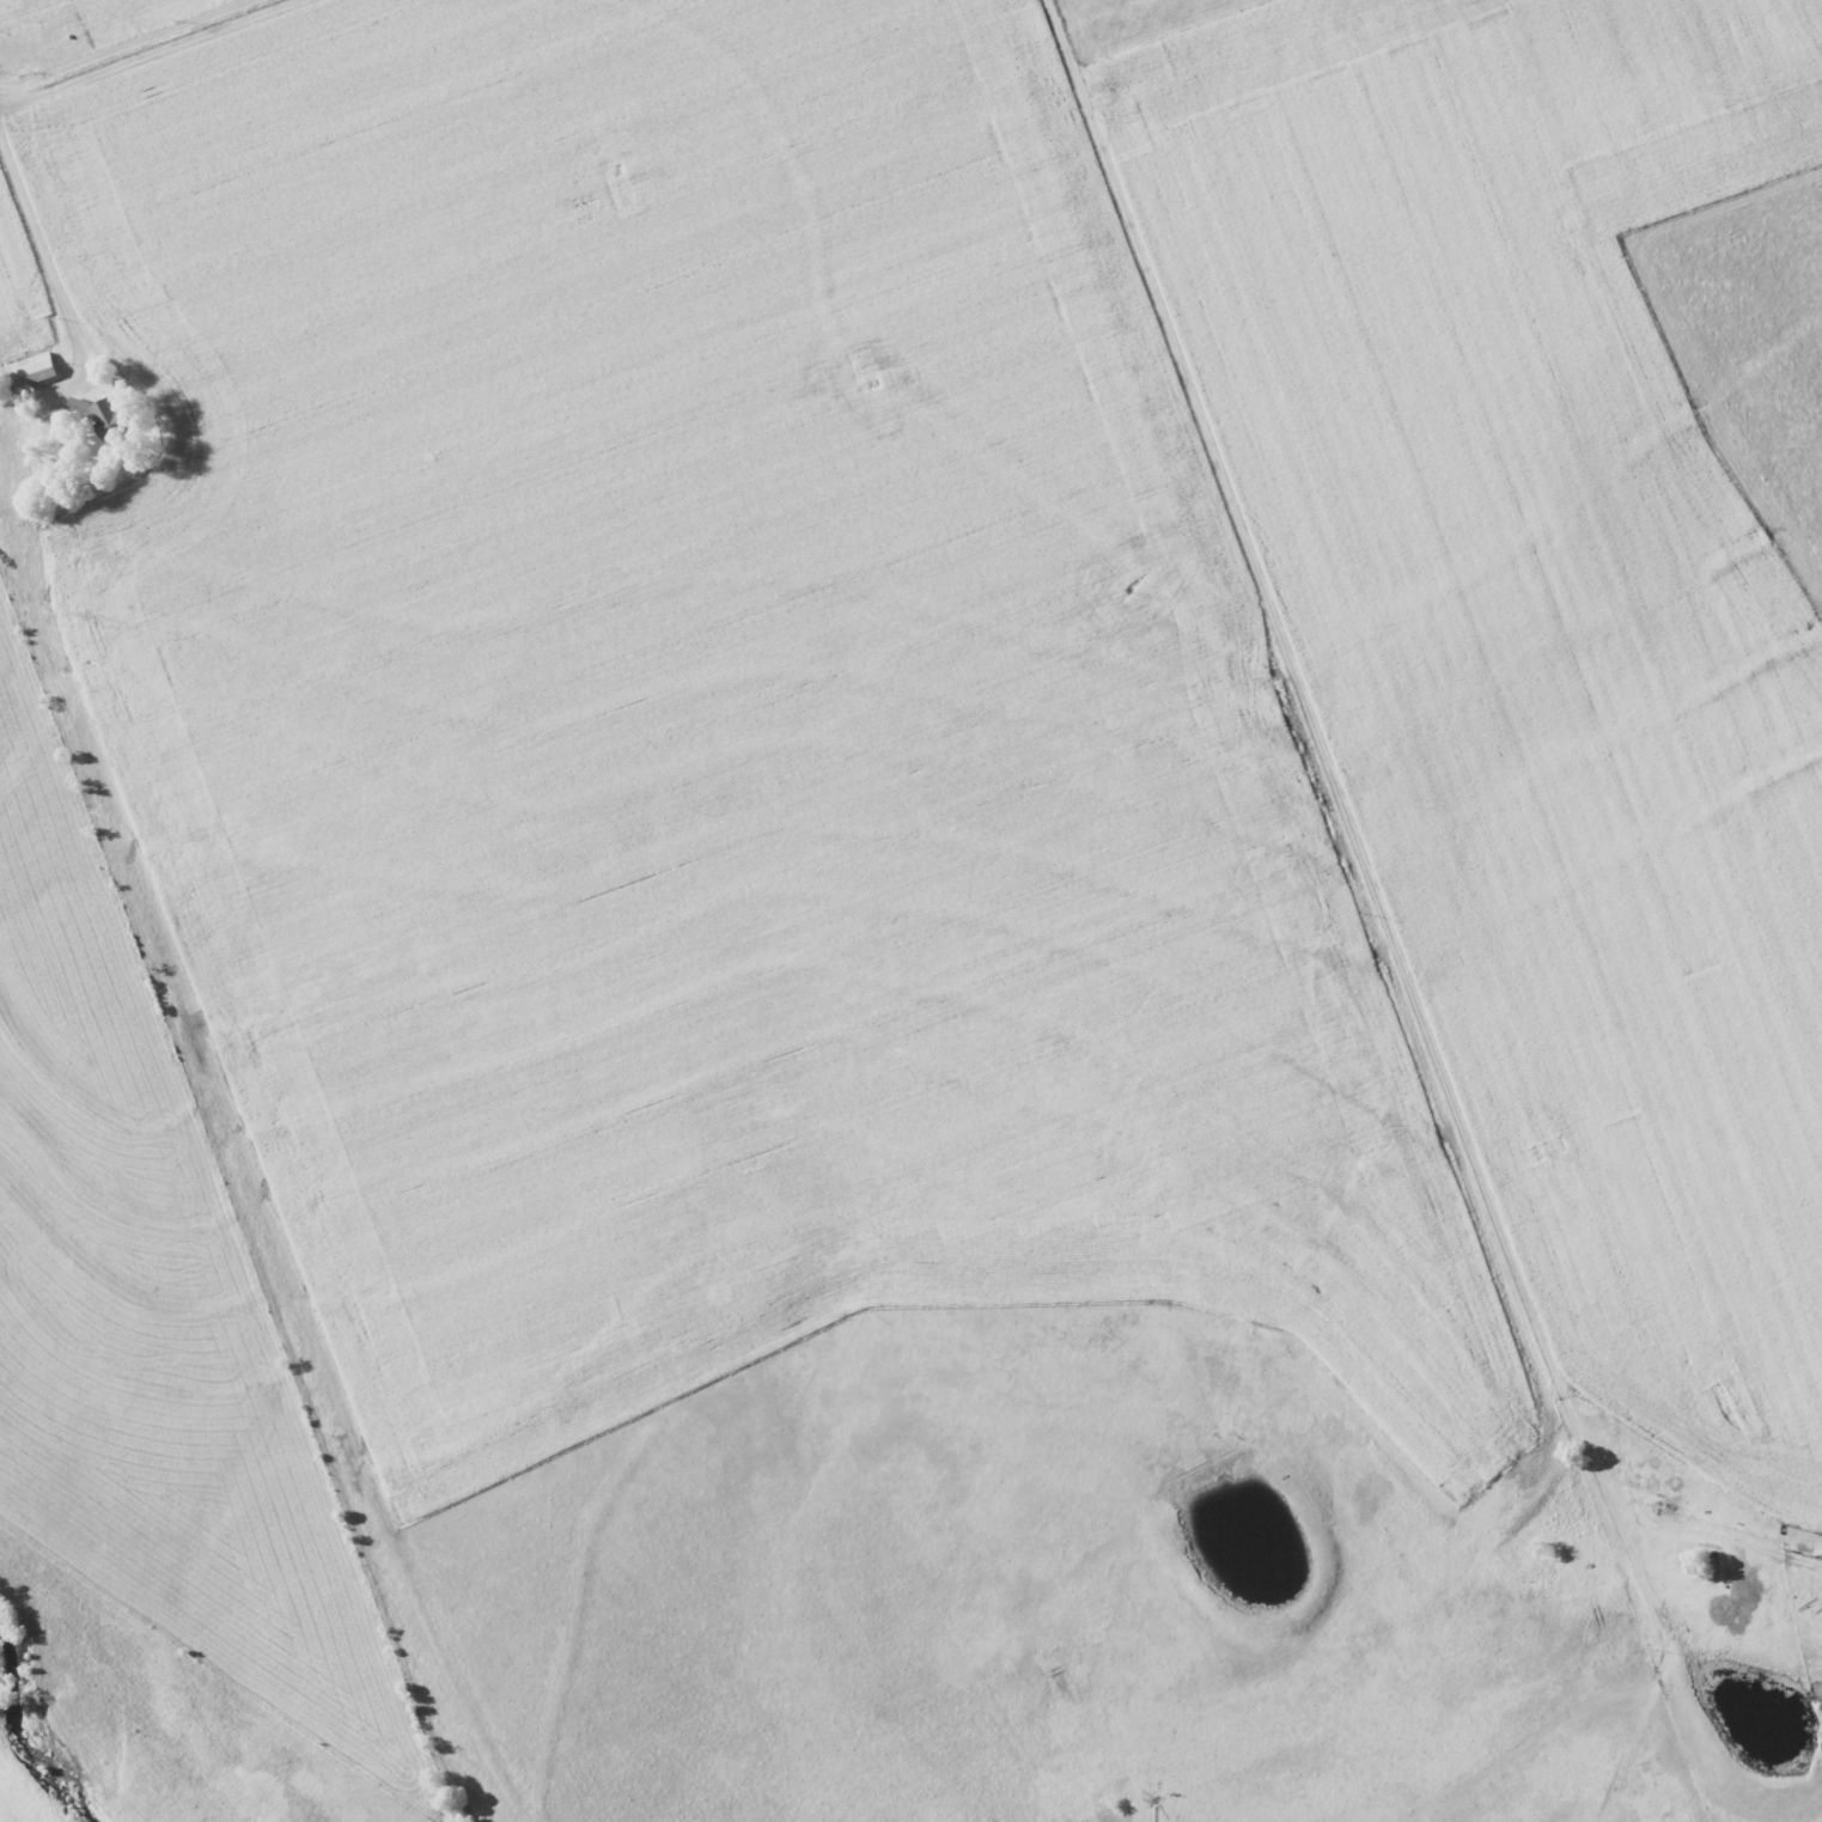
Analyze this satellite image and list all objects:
road: (156, 56)
road: (38, 256)
building: (112, 419)
road: (1352, 817)

